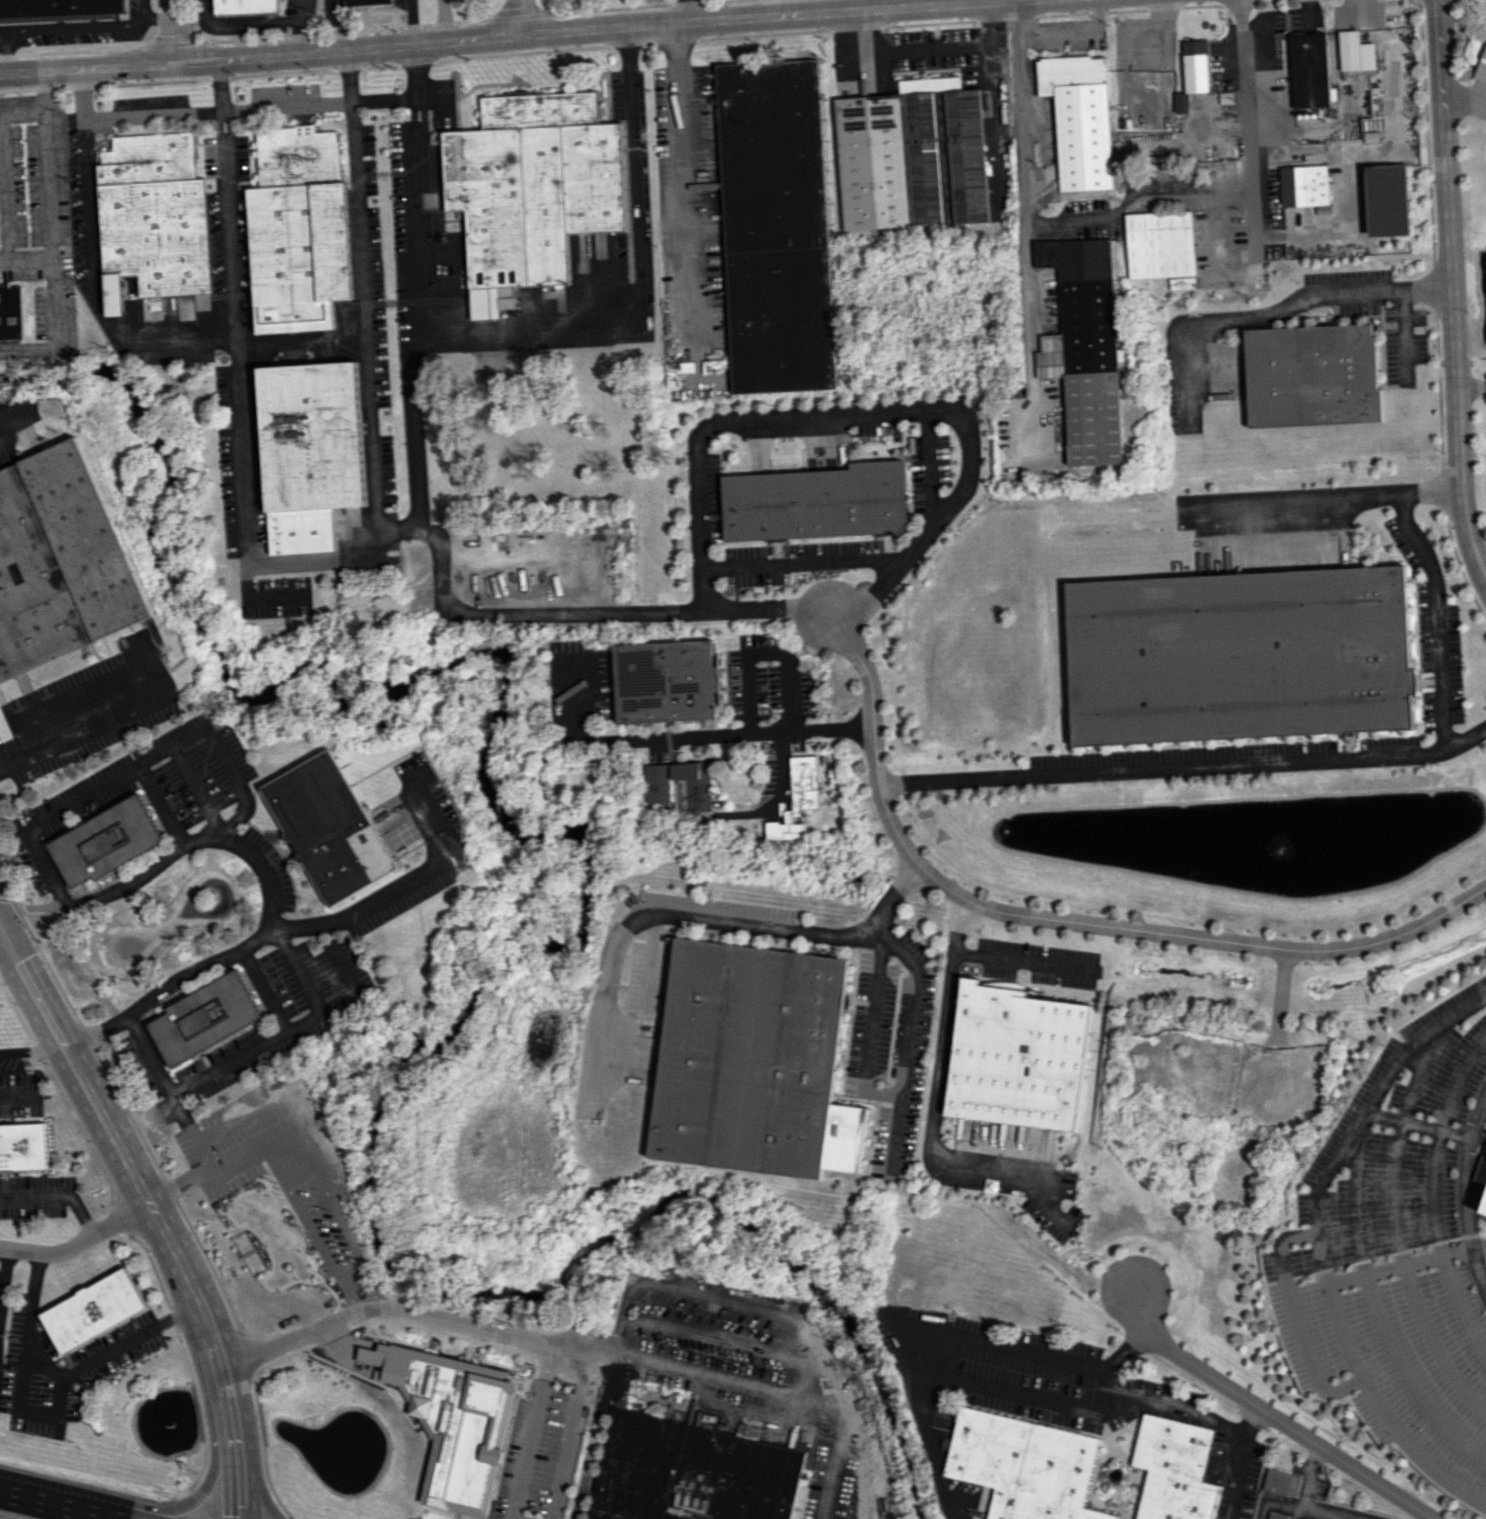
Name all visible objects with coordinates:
building: (365, 2)
road: (929, 3)
building: (243, 6)
building: (58, 9)
road: (688, 11)
road: (517, 17)
road: (246, 19)
road: (159, 20)
road: (442, 20)
road: (410, 22)
road: (83, 25)
road: (328, 25)
road: (302, 26)
road: (172, 31)
road: (507, 35)
road: (862, 51)
building: (1355, 52)
road: (8, 53)
road: (954, 53)
building: (1195, 66)
building: (1482, 69)
building: (1309, 70)
road: (346, 83)
road: (627, 83)
road: (1463, 97)
road: (414, 98)
road: (345, 101)
building: (1181, 103)
road: (83, 108)
road: (21, 112)
road: (179, 113)
road: (221, 113)
building: (1079, 119)
road: (418, 124)
road: (1245, 126)
road: (225, 135)
building: (911, 156)
road: (4, 185)
road: (680, 186)
building: (1305, 187)
road: (48, 189)
building: (530, 190)
road: (1131, 193)
building: (1387, 200)
building: (152, 218)
road: (1024, 221)
building: (775, 226)
building: (298, 230)
road: (230, 239)
building: (1160, 244)
building: (1182, 282)
road: (1451, 293)
road: (96, 307)
road: (1272, 309)
building: (11, 313)
road: (625, 323)
road: (55, 327)
road: (425, 329)
building: (1084, 347)
building: (1312, 375)
road: (868, 411)
road: (16, 417)
building: (310, 452)
road: (242, 456)
road: (372, 499)
road: (1321, 499)
building: (815, 502)
building: (60, 562)
road: (801, 563)
road: (746, 607)
road: (1437, 617)
road: (764, 649)
building: (1240, 655)
building: (665, 680)
road: (83, 726)
road: (689, 736)
road: (128, 766)
road: (1186, 768)
road: (197, 788)
building: (681, 789)
building: (796, 800)
road: (160, 804)
building: (330, 827)
building: (105, 841)
road: (169, 857)
road: (362, 906)
road: (670, 912)
road: (1058, 921)
road: (250, 941)
road: (651, 958)
road: (1019, 960)
road: (258, 990)
road: (914, 1000)
building: (204, 1017)
road: (867, 1030)
road: (97, 1031)
road: (33, 1050)
building: (1016, 1056)
building: (755, 1062)
road: (13, 1092)
road: (279, 1099)
road: (933, 1104)
road: (1360, 1117)
road: (1418, 1123)
road: (288, 1139)
building: (22, 1146)
road: (130, 1166)
building: (1481, 1171)
road: (306, 1173)
road: (1466, 1192)
road: (56, 1196)
road: (1434, 1197)
road: (297, 1203)
building: (1485, 1209)
road: (1396, 1233)
road: (348, 1234)
road: (79, 1243)
road: (2, 1265)
road: (357, 1281)
parking lot: (1409, 1291)
road: (293, 1297)
road: (395, 1305)
building: (92, 1310)
road: (1378, 1313)
road: (785, 1317)
road: (1296, 1319)
road: (956, 1332)
road: (726, 1341)
road: (1348, 1345)
road: (593, 1353)
road: (1021, 1394)
road: (784, 1400)
road: (1166, 1407)
road: (1272, 1415)
road: (51, 1417)
building: (454, 1423)
road: (527, 1434)
road: (571, 1435)
road: (593, 1438)
road: (1239, 1461)
road: (235, 1464)
road: (251, 1465)
building: (1024, 1466)
building: (1172, 1469)
building: (693, 1472)
road: (1308, 1475)
building: (1280, 1482)
road: (194, 1498)
road: (1273, 1501)
road: (51, 1504)
road: (1326, 1513)
building: (1277, 1515)
road: (107, 1518)

